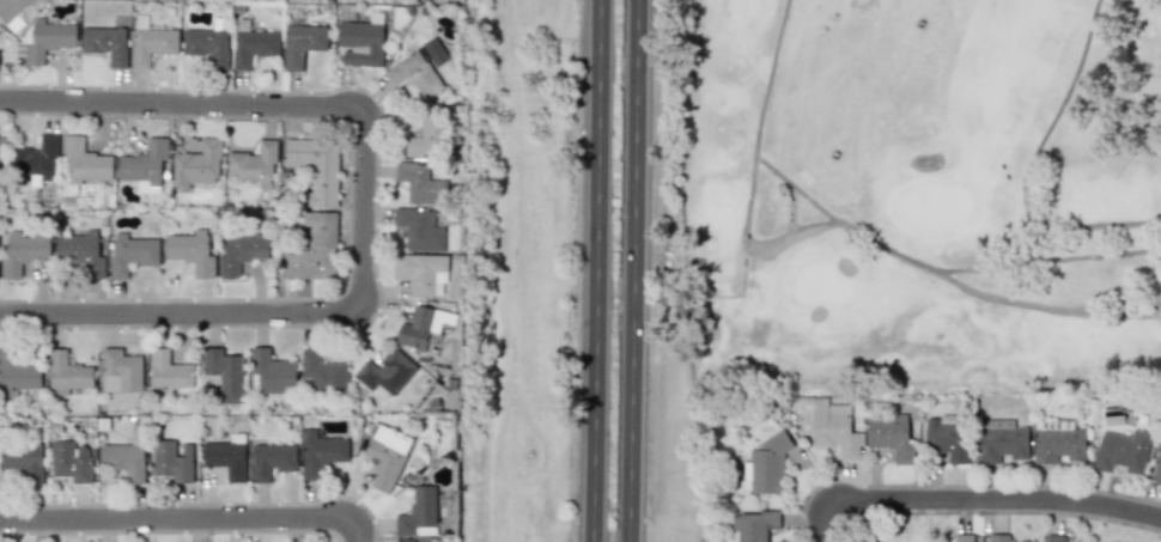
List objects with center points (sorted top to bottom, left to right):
building: (10, 8)
building: (44, 39)
building: (151, 41)
building: (361, 41)
building: (105, 43)
building: (251, 44)
building: (302, 44)
building: (207, 45)
building: (433, 51)
building: (415, 74)
building: (423, 140)
building: (0, 148)
building: (36, 159)
building: (85, 162)
building: (255, 164)
building: (197, 165)
building: (144, 168)
building: (316, 169)
road: (1025, 182)
building: (419, 183)
road: (794, 189)
park: (905, 196)
road: (359, 206)
road: (746, 217)
building: (419, 229)
building: (315, 248)
building: (192, 251)
building: (80, 252)
building: (132, 254)
building: (242, 254)
railway: (486, 270)
road: (595, 270)
road: (632, 270)
building: (420, 273)
road: (1043, 306)
building: (423, 327)
building: (121, 371)
building: (169, 371)
building: (18, 372)
building: (68, 372)
building: (272, 372)
building: (225, 373)
building: (385, 373)
building: (321, 374)
rooftop solar panel: (1045, 424)
rooftop solar panel: (1051, 424)
rooftop solar panel: (1056, 424)
building: (834, 430)
building: (890, 437)
building: (946, 437)
building: (1057, 441)
building: (1001, 444)
building: (1122, 451)
building: (321, 452)
building: (227, 456)
building: (385, 456)
building: (24, 459)
building: (124, 459)
building: (272, 459)
building: (71, 461)
building: (172, 461)
building: (766, 465)
building: (1157, 468)
road: (986, 498)
building: (419, 512)
road: (183, 516)
building: (753, 525)
building: (964, 537)
building: (997, 537)
building: (1054, 538)
building: (417, 541)
building: (1023, 541)

